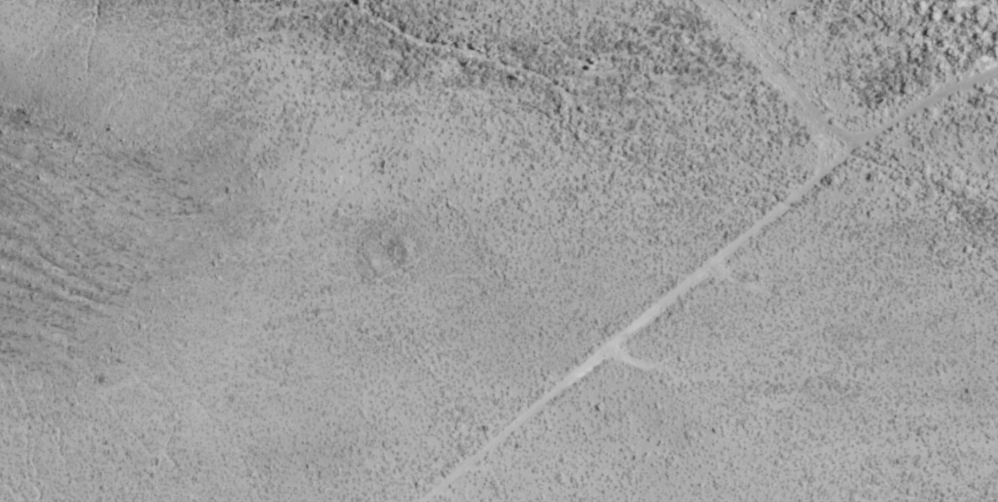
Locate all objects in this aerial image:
road: (781, 72)
road: (703, 274)

